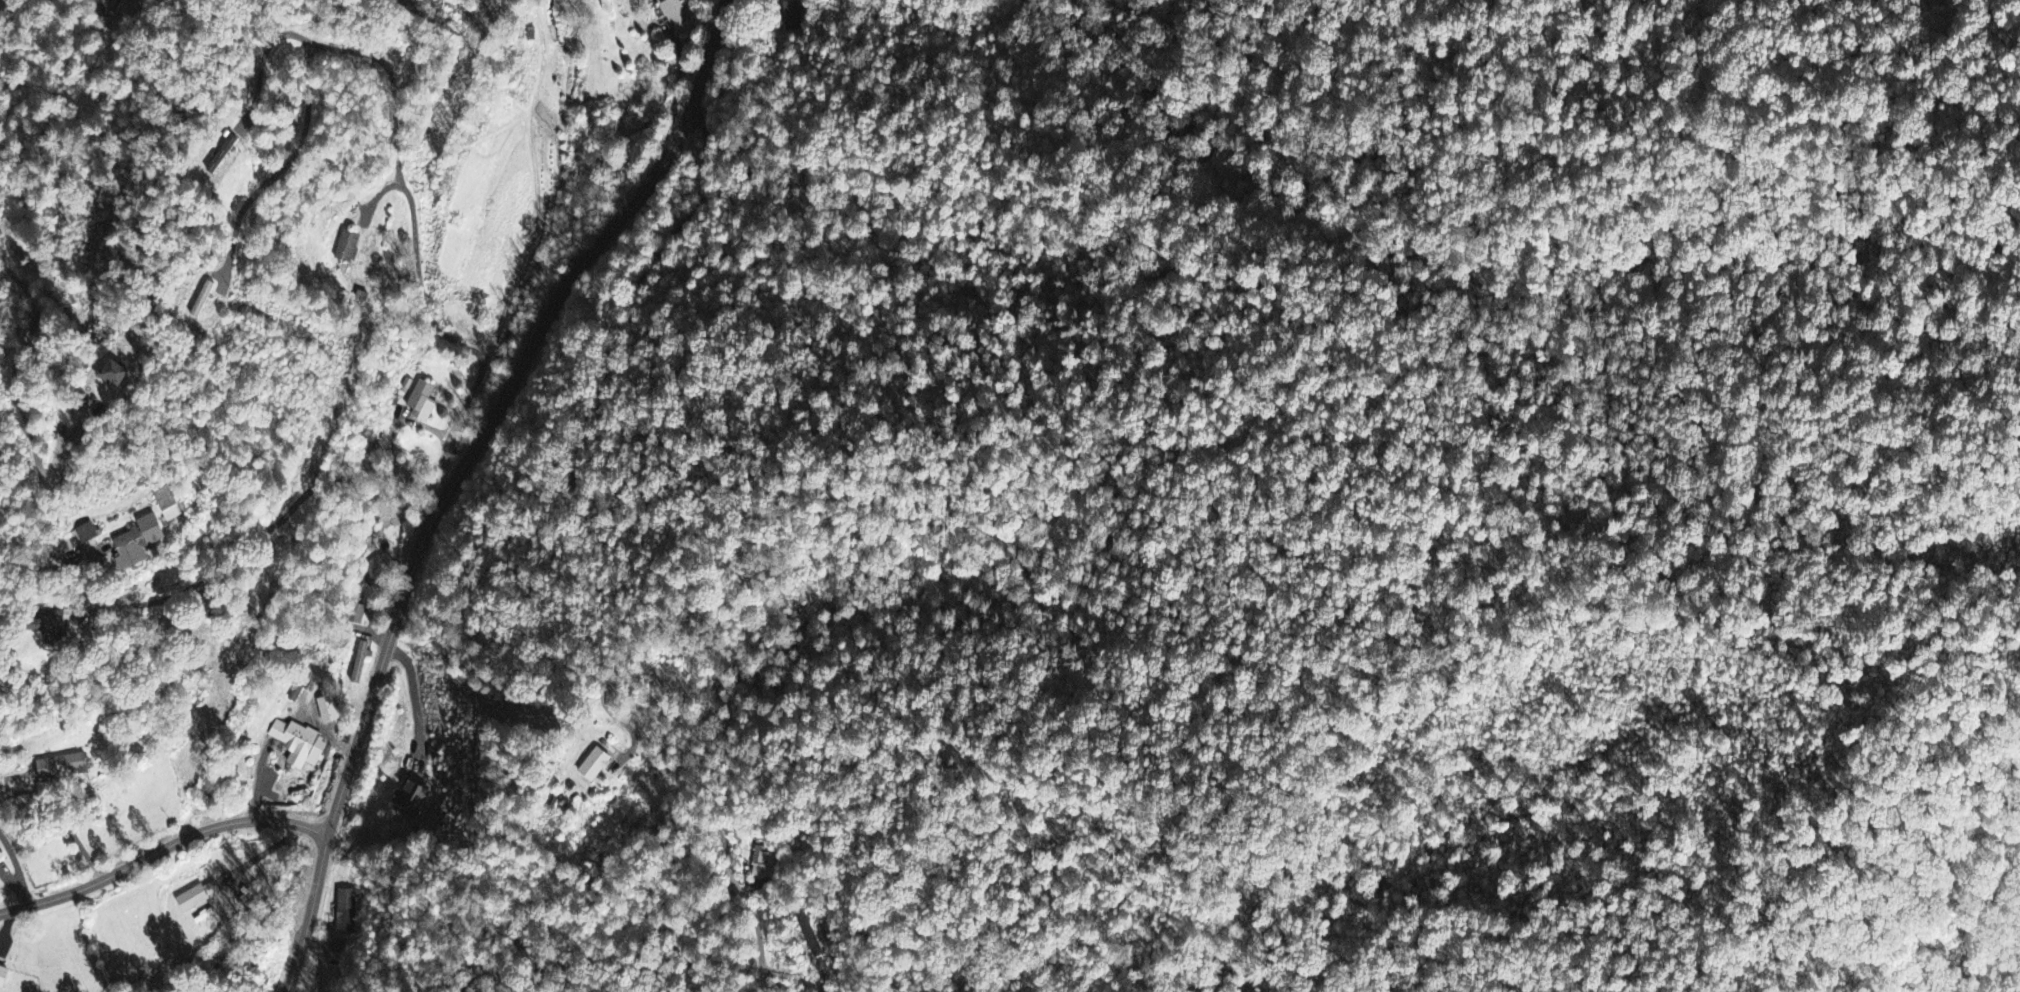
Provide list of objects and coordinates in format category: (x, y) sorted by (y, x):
building: (672, 12)
building: (788, 14)
road: (392, 79)
road: (669, 115)
building: (230, 145)
building: (347, 247)
road: (420, 286)
building: (120, 377)
road: (502, 400)
building: (422, 402)
road: (466, 402)
road: (19, 403)
road: (395, 426)
road: (270, 524)
building: (88, 534)
building: (139, 544)
road: (560, 572)
building: (49, 626)
building: (328, 708)
building: (300, 745)
building: (596, 766)
building: (63, 768)
building: (412, 799)
road: (75, 834)
road: (160, 848)
building: (762, 864)
road: (18, 867)
building: (198, 898)
road: (310, 911)
building: (345, 913)
building: (4, 978)

